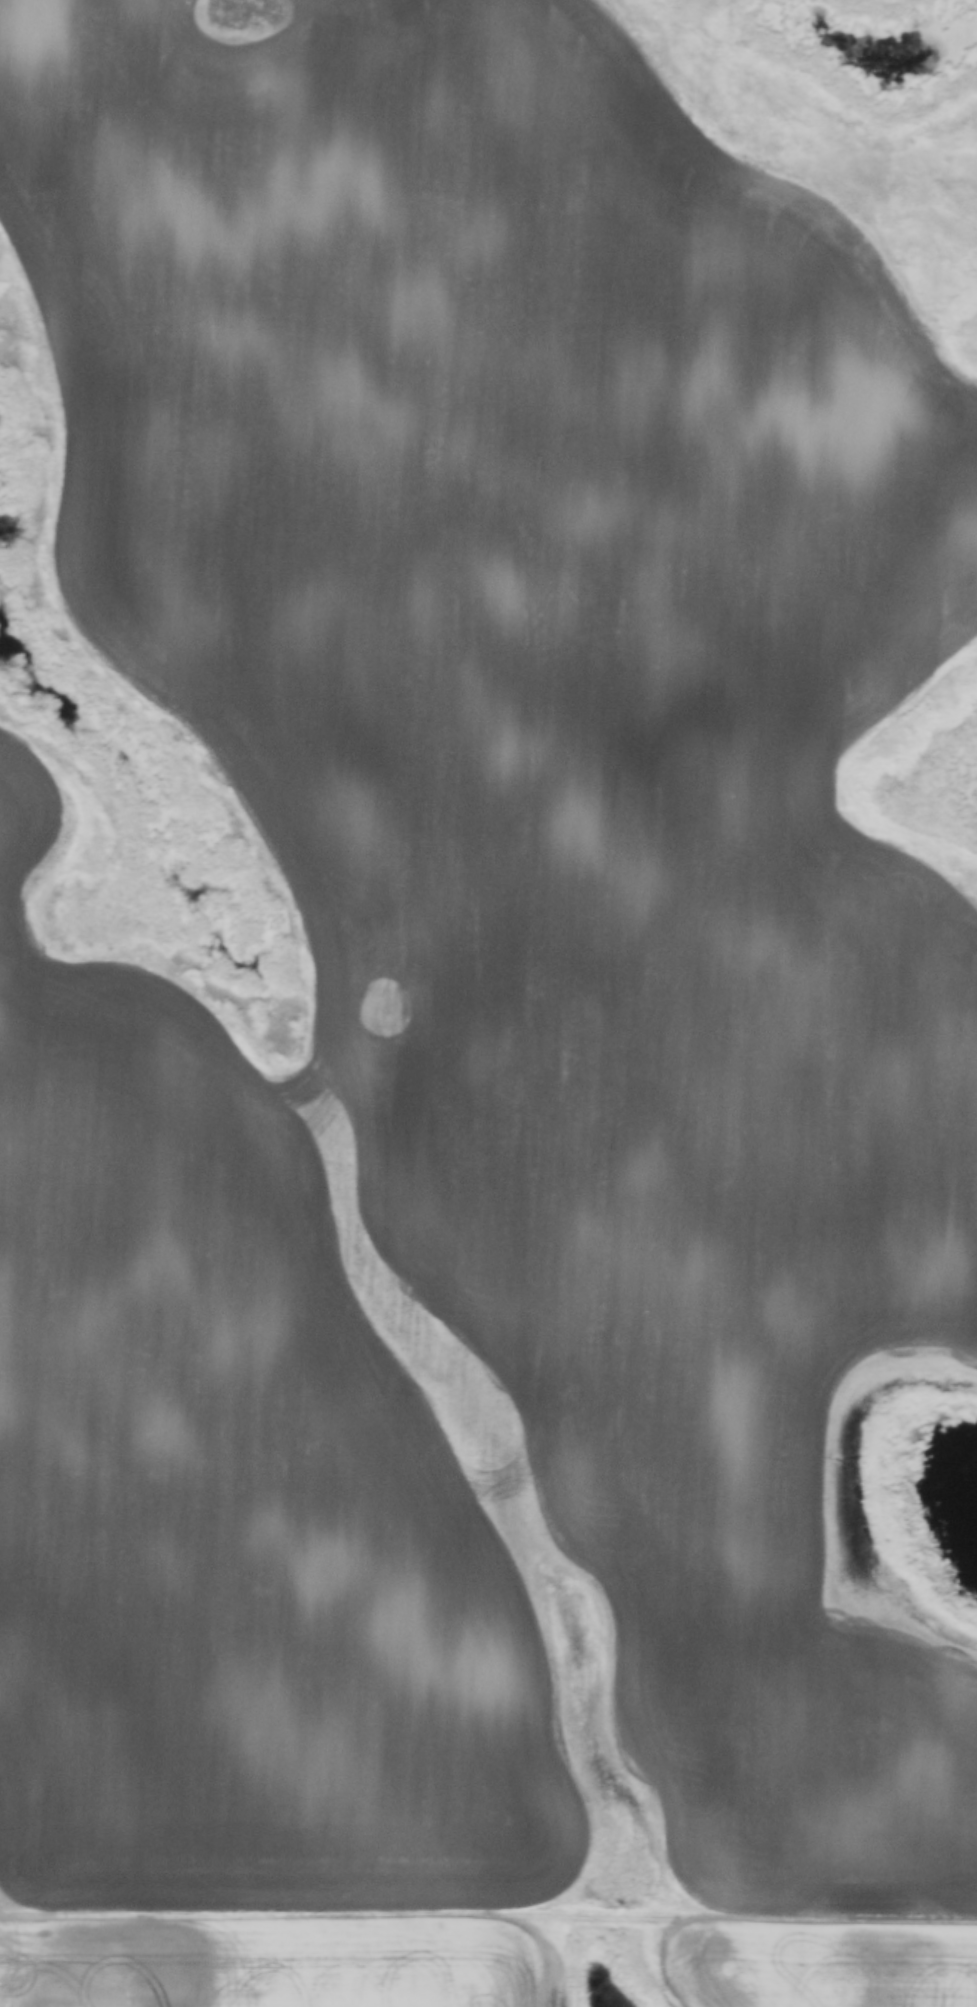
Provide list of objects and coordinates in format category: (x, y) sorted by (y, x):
road: (488, 1939)

